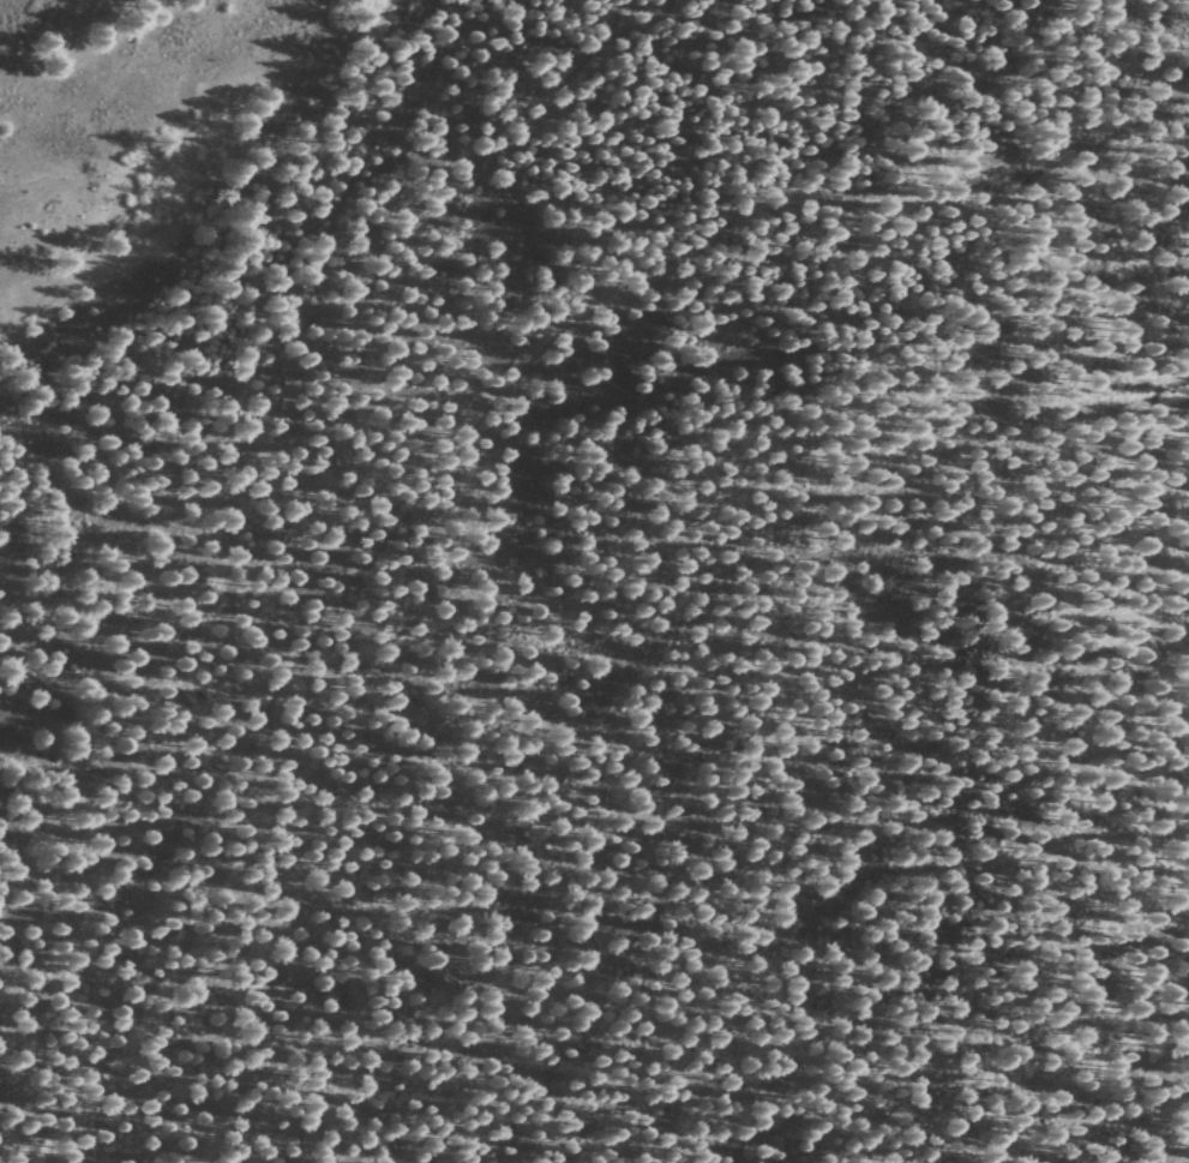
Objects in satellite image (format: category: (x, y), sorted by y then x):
road: (238, 220)
road: (1141, 250)
road: (254, 361)
road: (497, 379)
road: (28, 1037)

